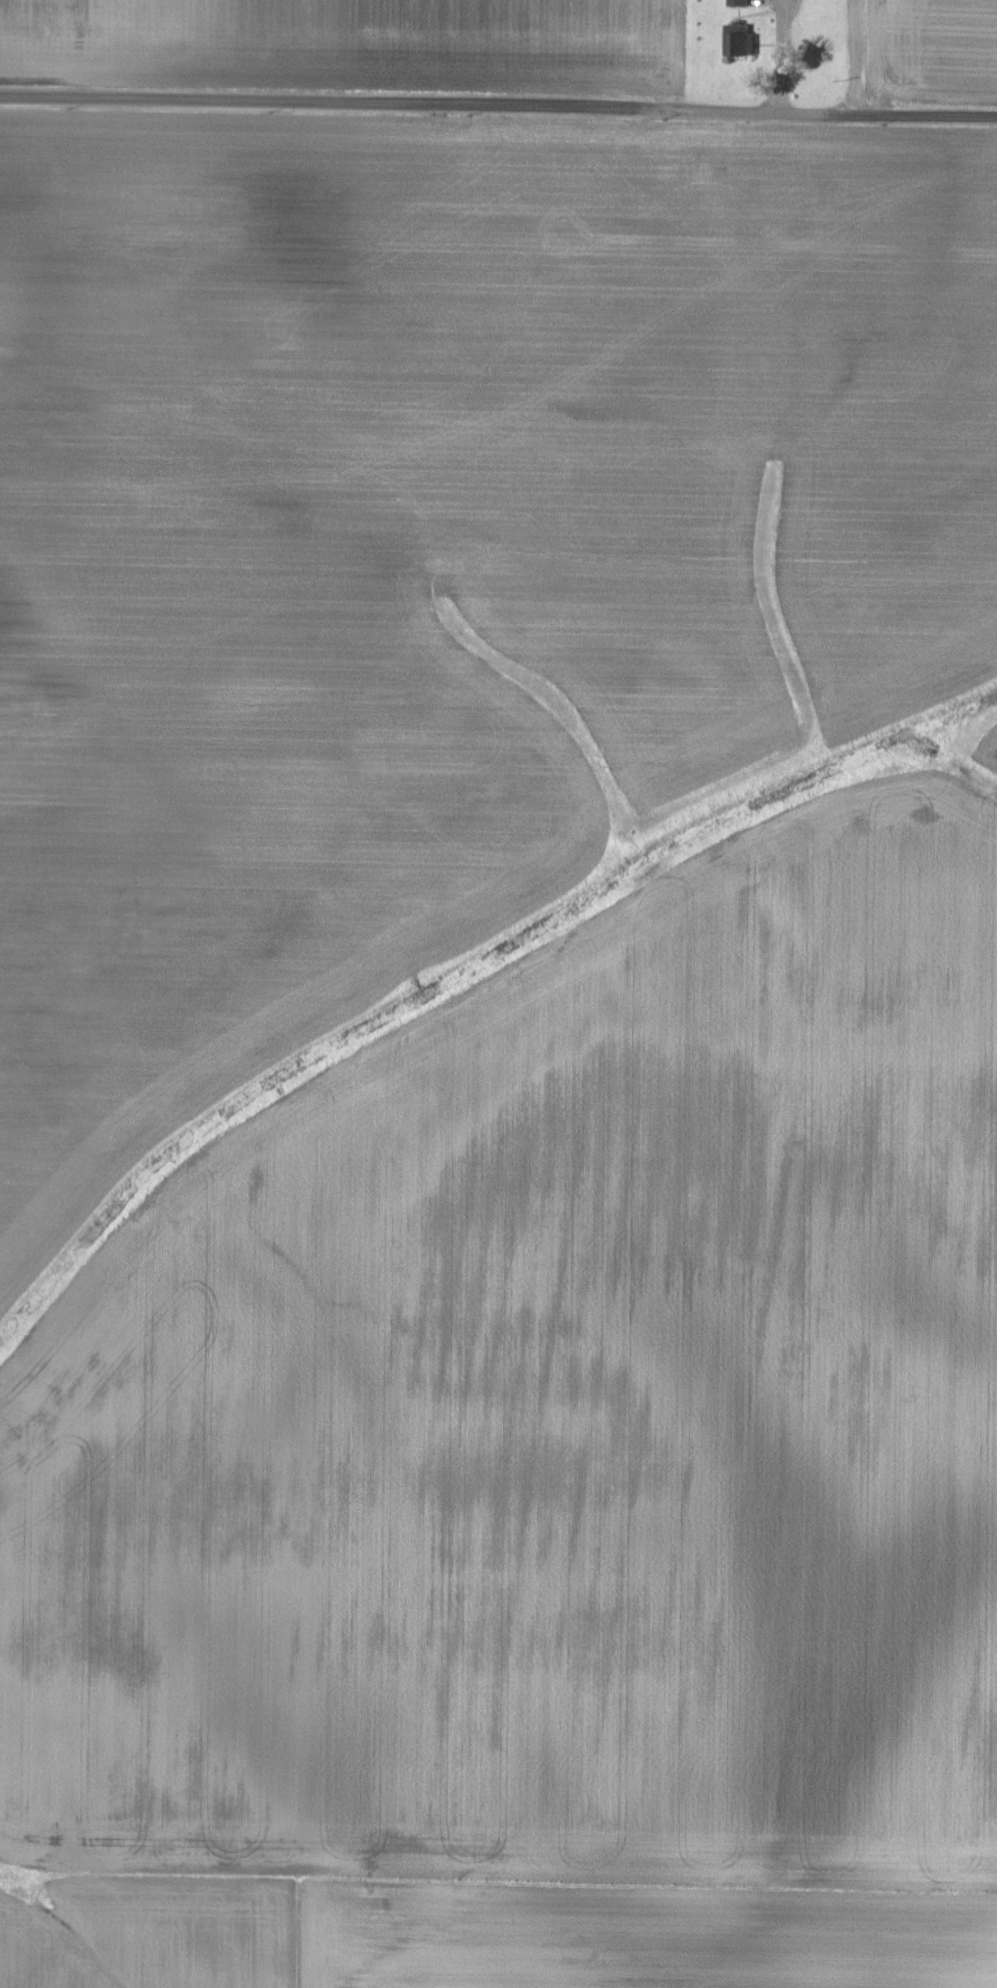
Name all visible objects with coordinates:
building: (740, 38)
road: (784, 56)
road: (856, 57)
road: (498, 107)

